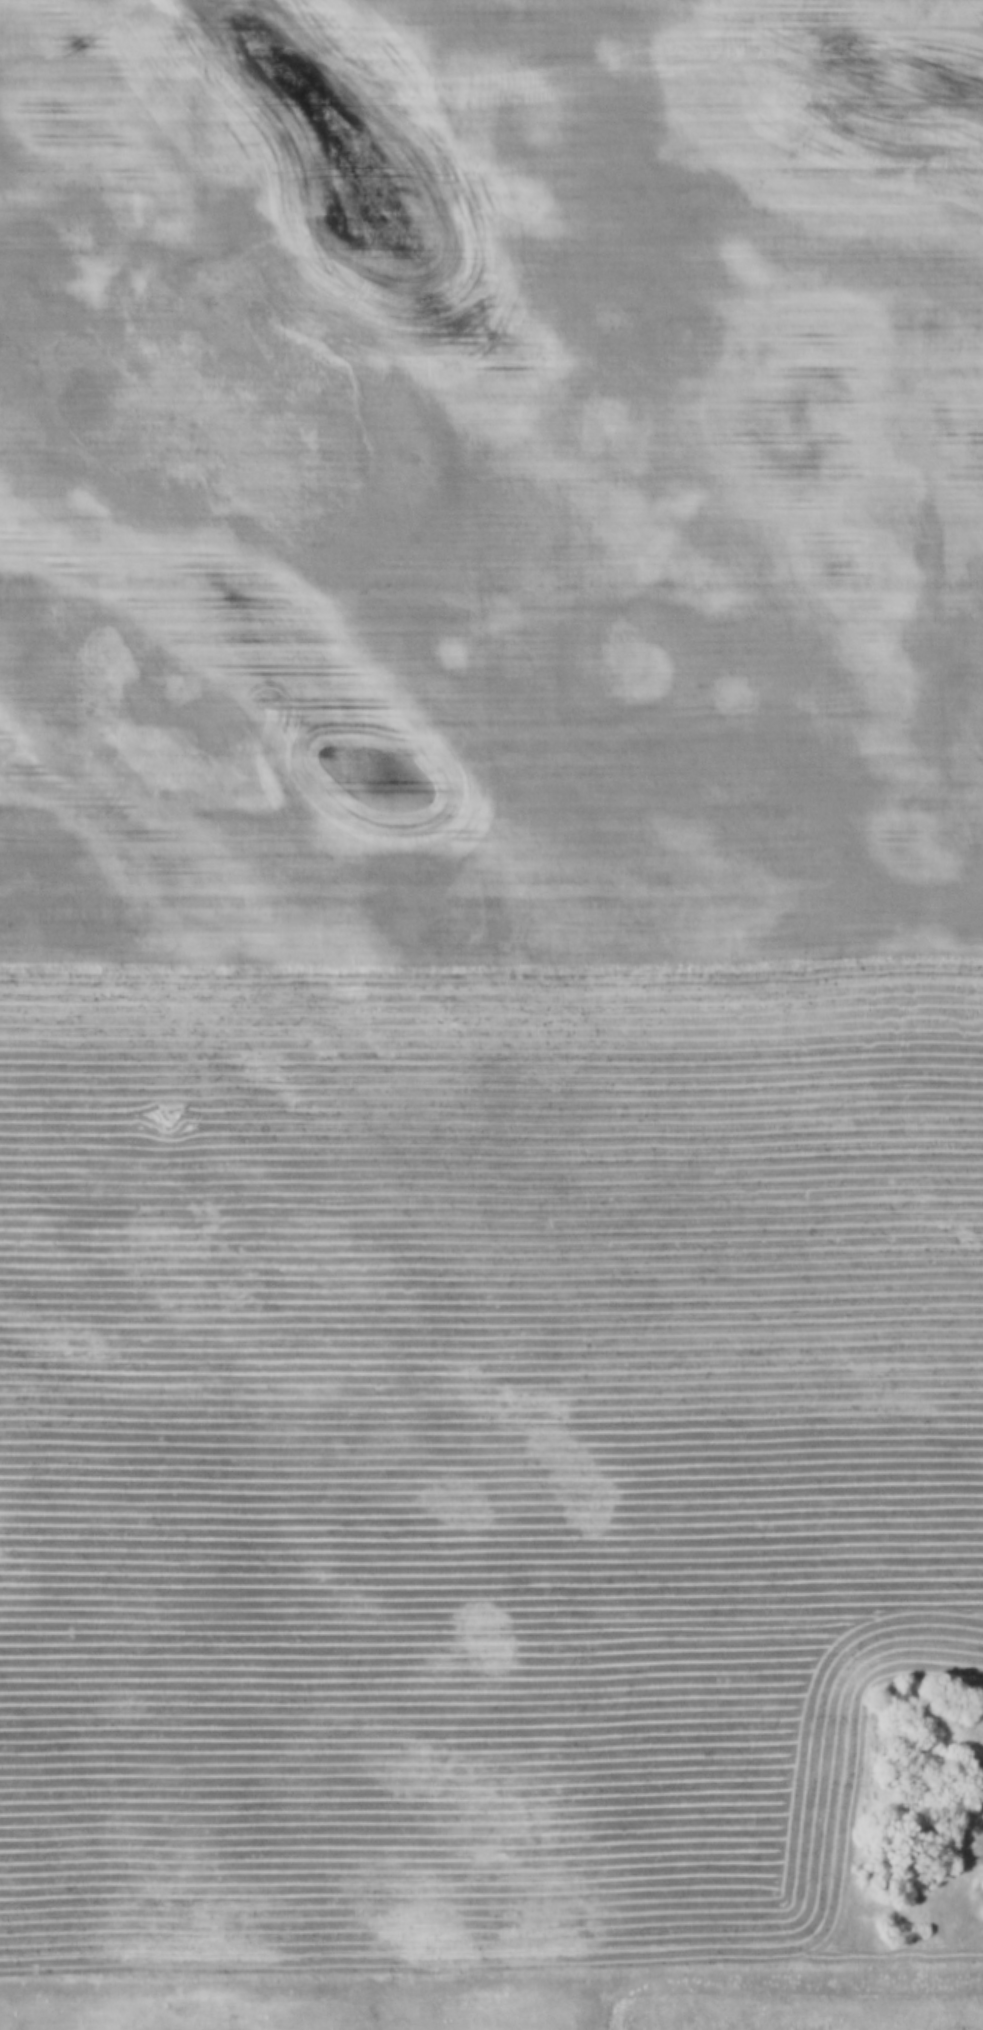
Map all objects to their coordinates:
road: (491, 1972)
road: (619, 2000)

